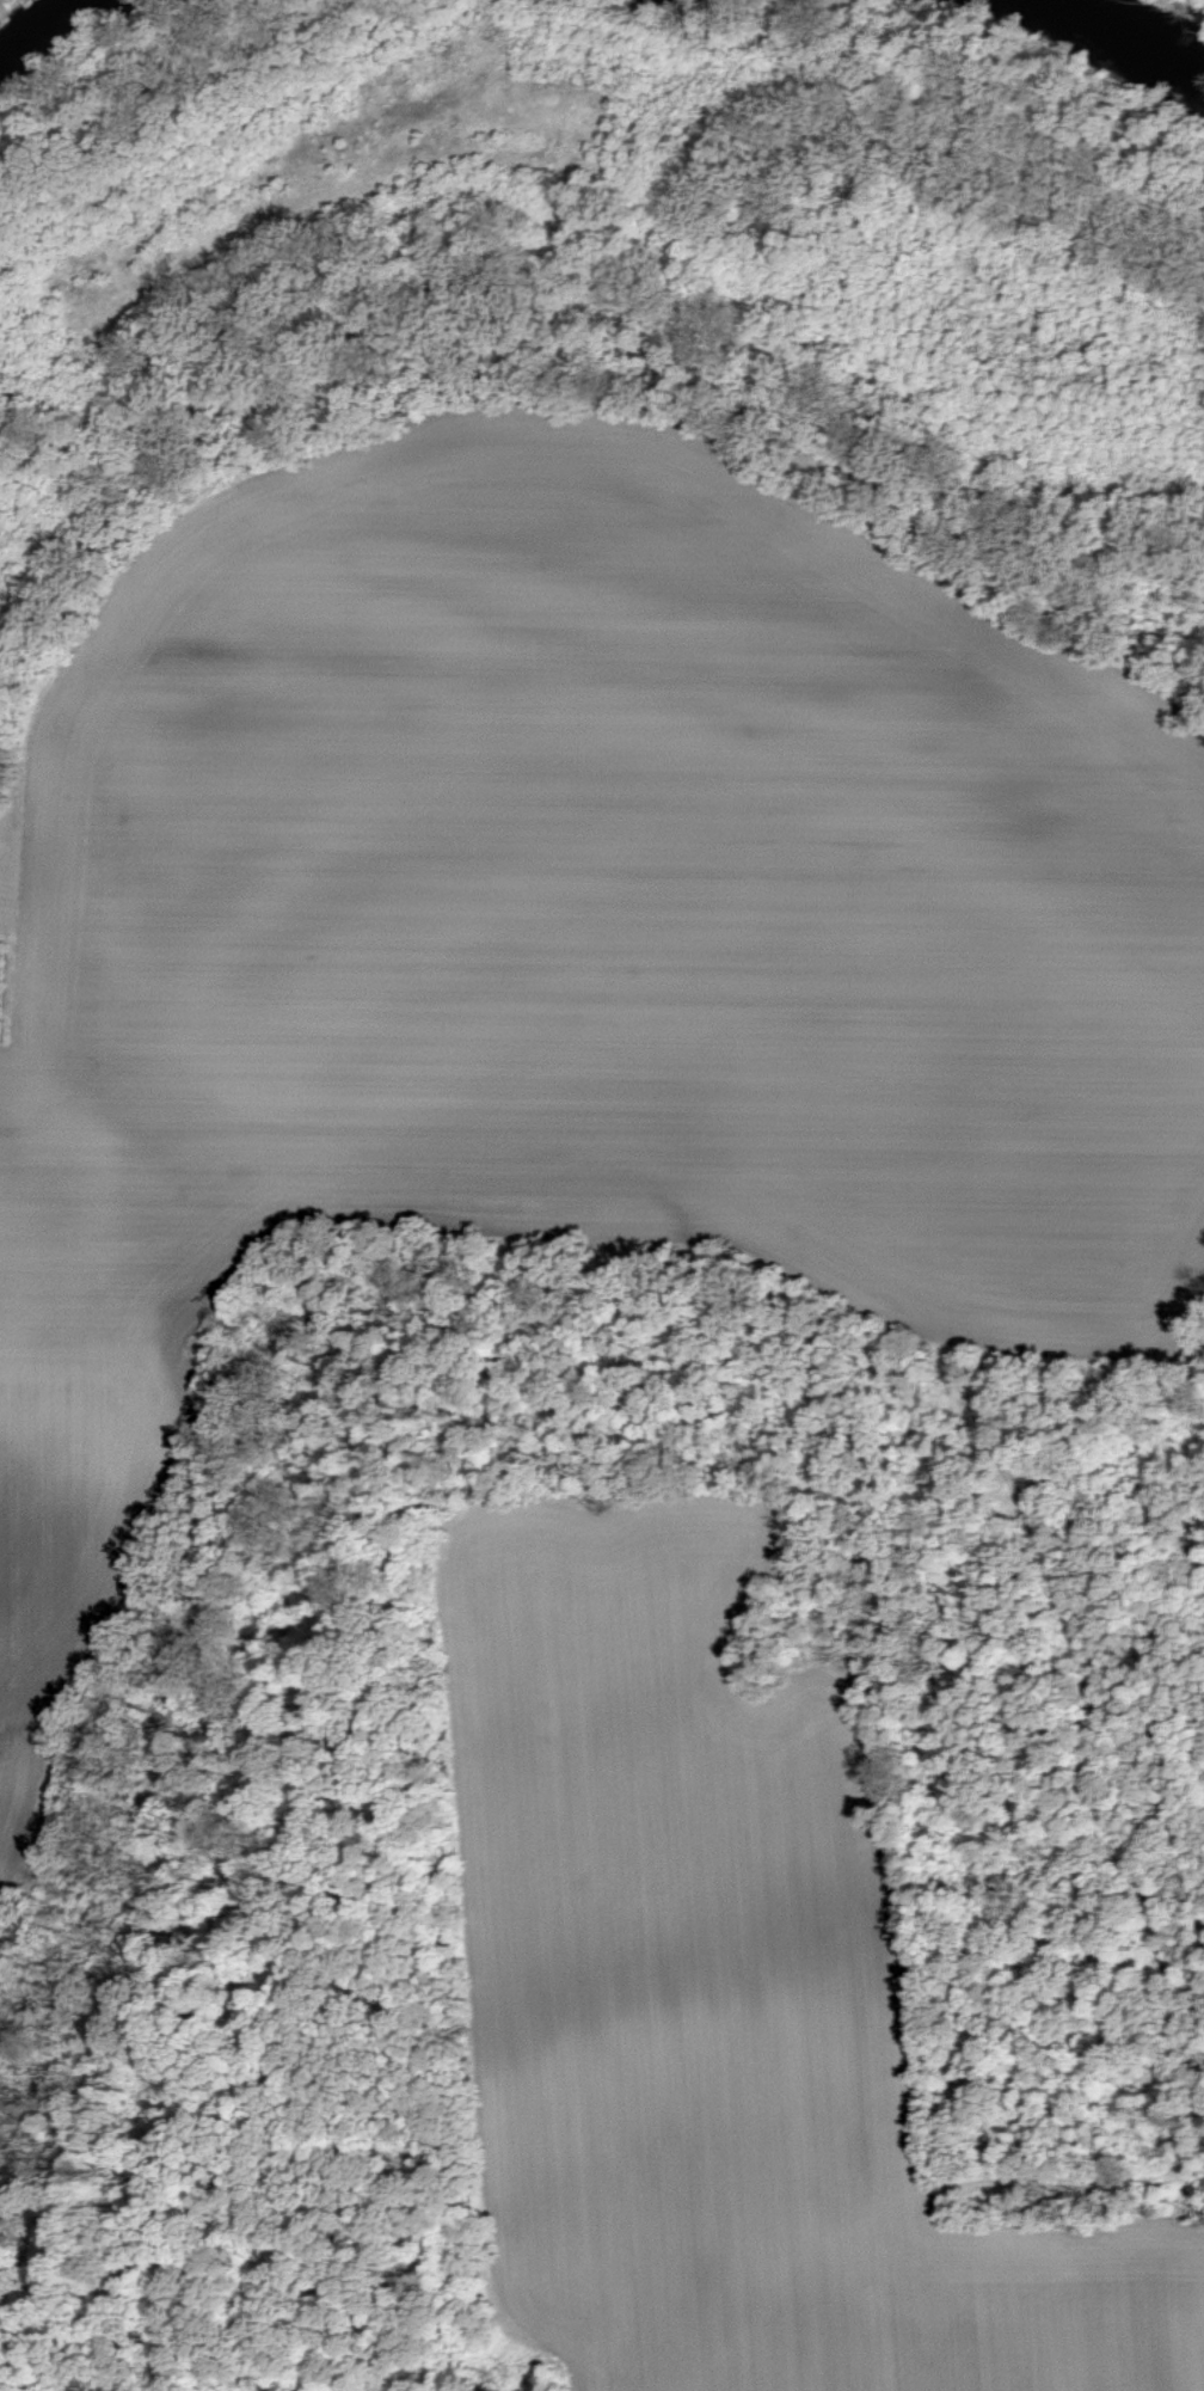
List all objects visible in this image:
river: (37, 31)
river: (1134, 37)

